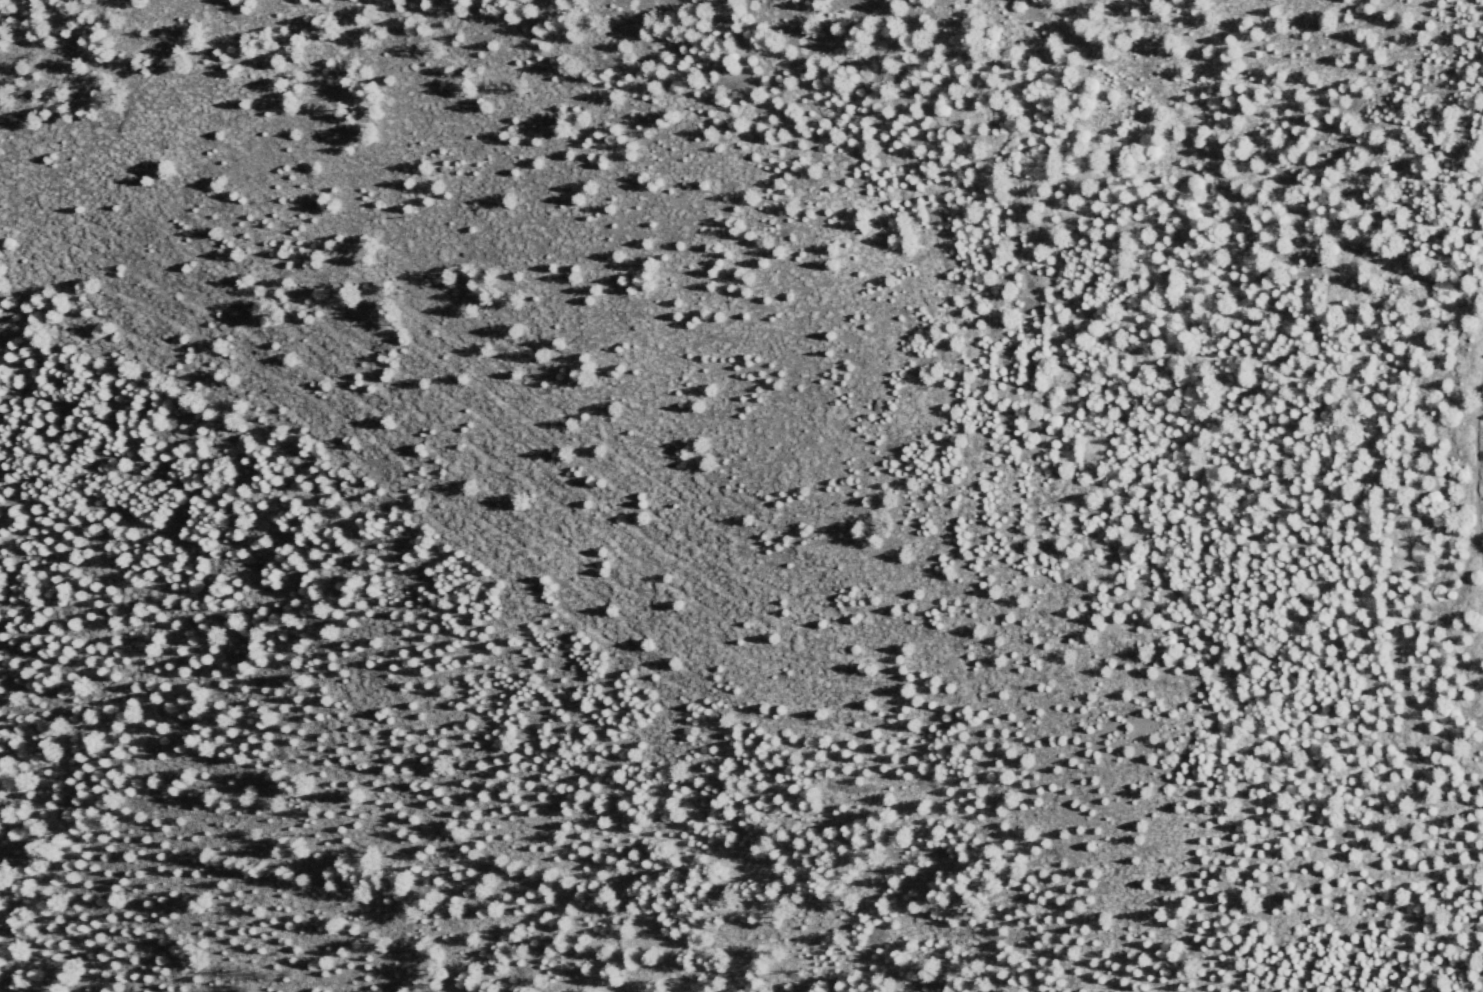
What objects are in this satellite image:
road: (1480, 469)

